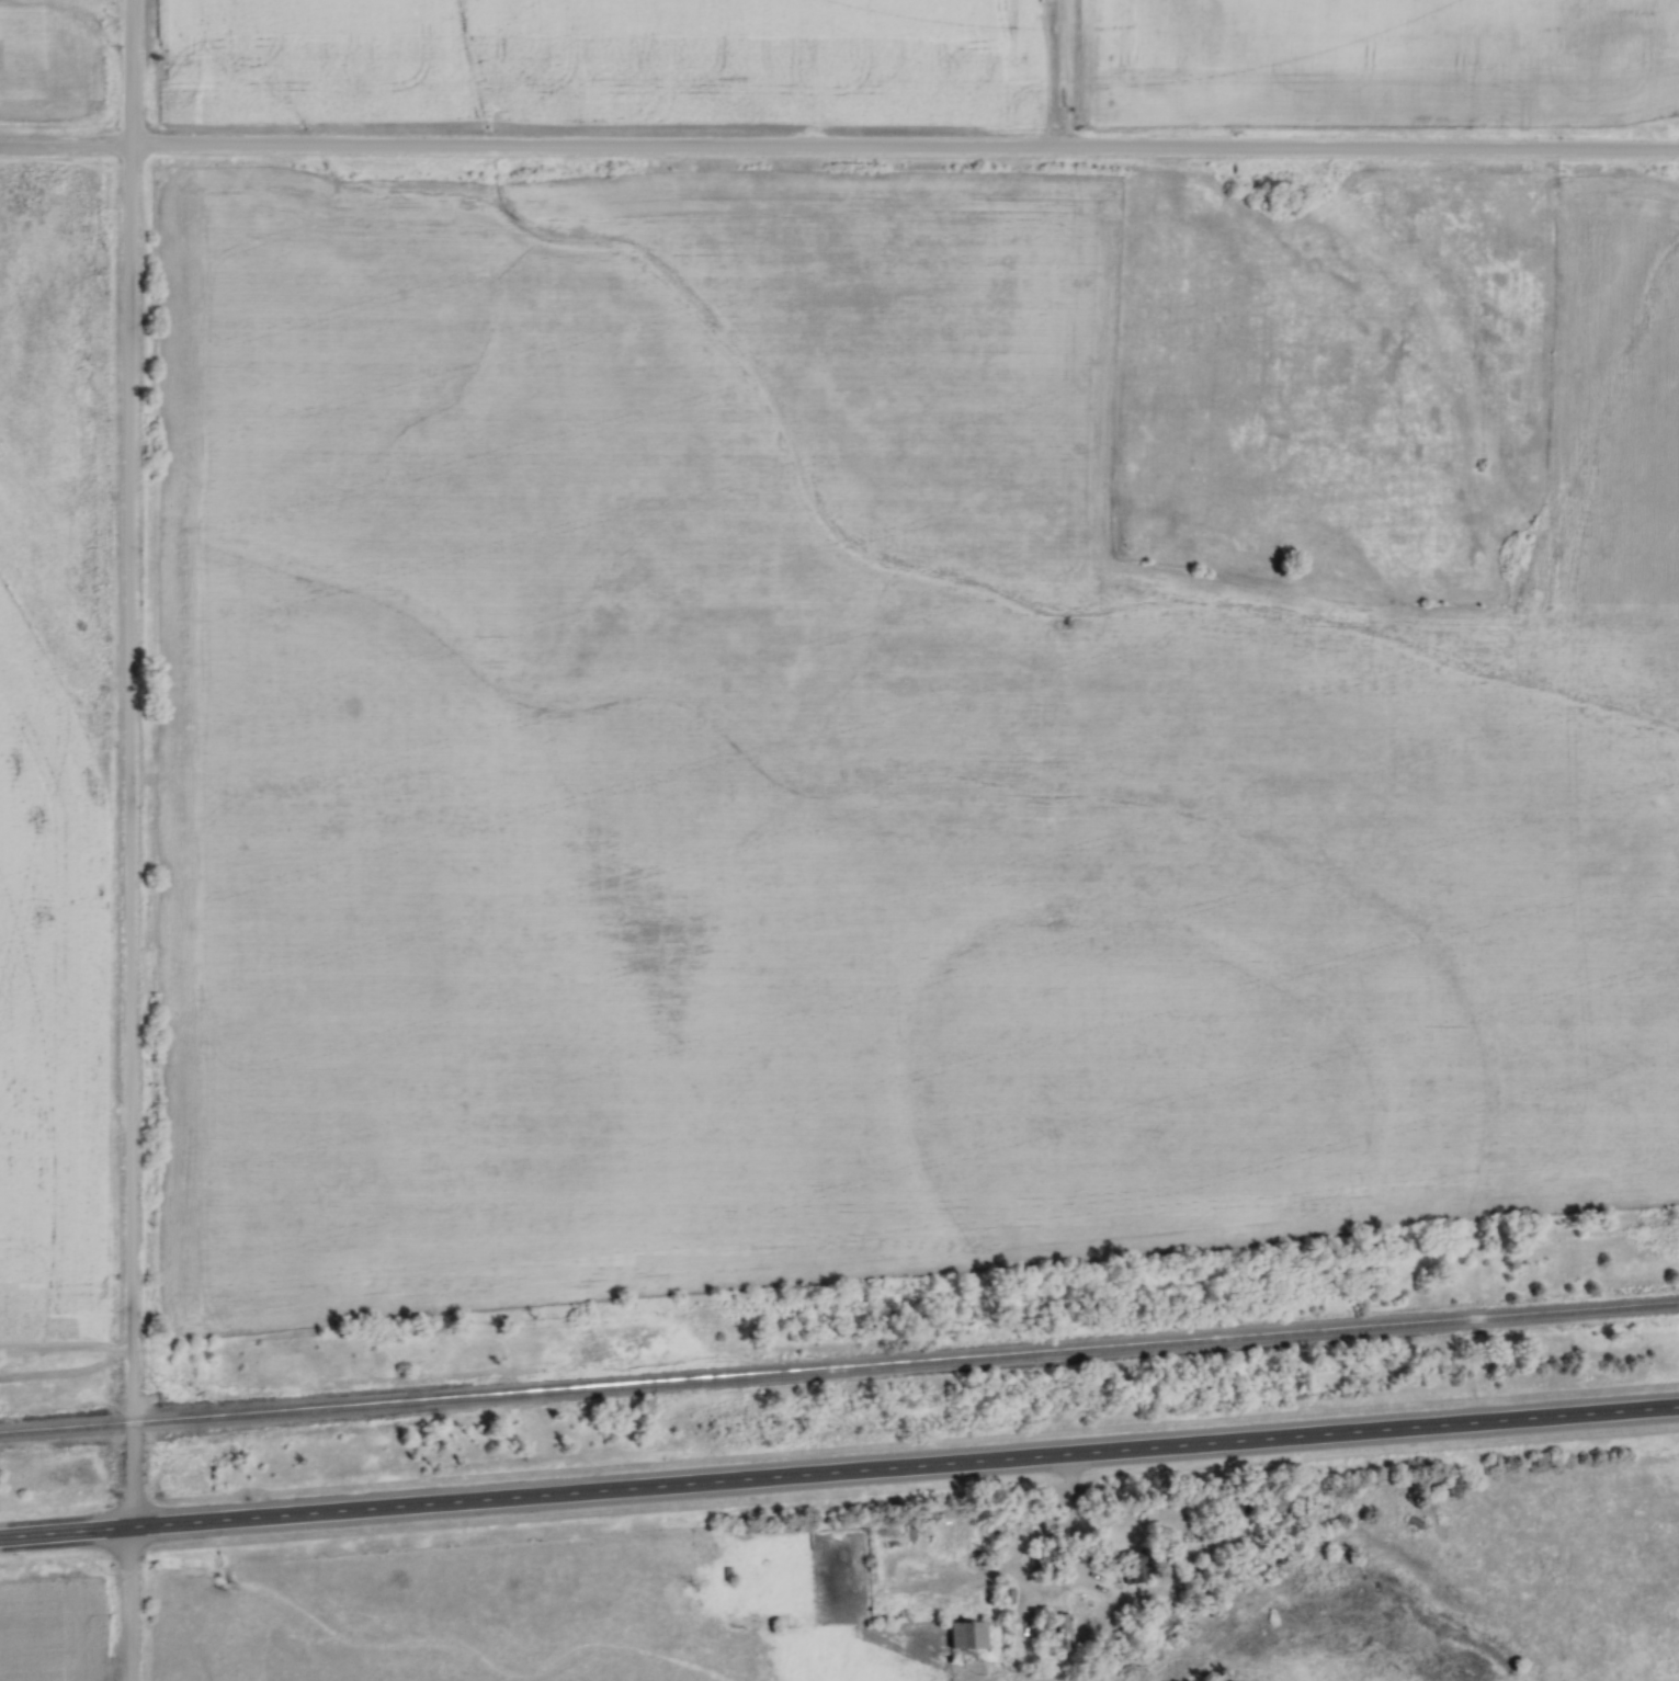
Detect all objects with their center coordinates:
road: (67, 145)
road: (906, 149)
road: (132, 840)
railway: (839, 1379)
road: (905, 1468)
building: (1271, 1504)
road: (66, 1532)
road: (1073, 1542)
building: (1045, 1563)
building: (1133, 1576)
building: (1198, 1578)
building: (1008, 1595)
building: (969, 1635)

